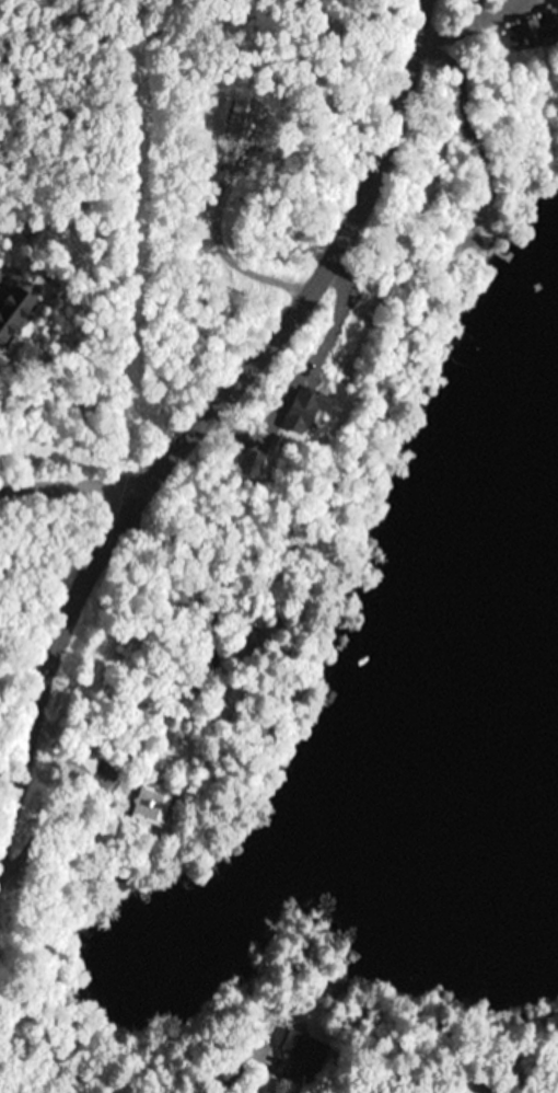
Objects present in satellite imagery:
road: (201, 414)
road: (72, 479)
road: (26, 653)
road: (263, 1069)

